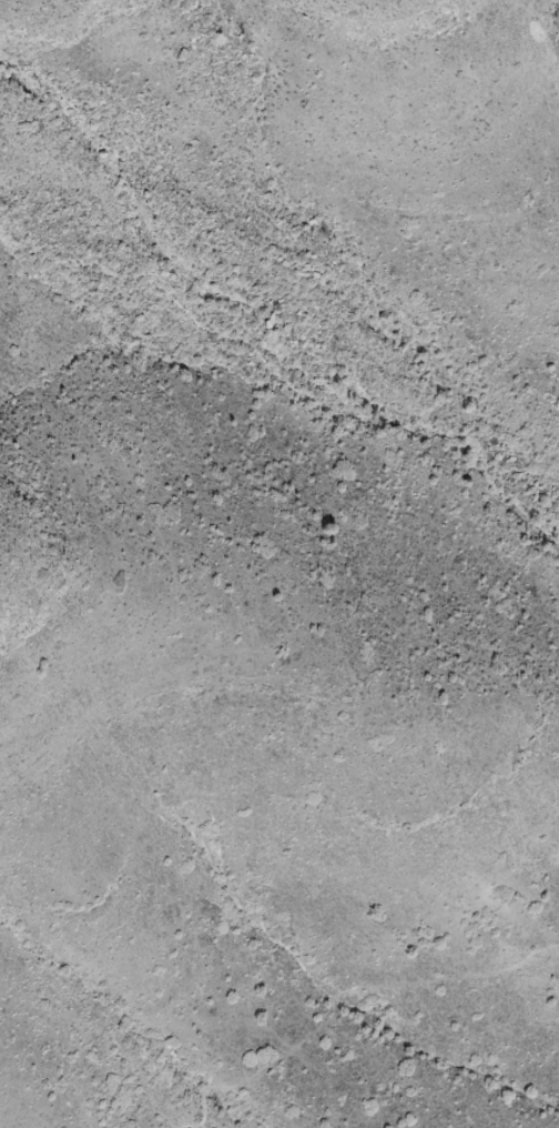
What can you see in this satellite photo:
road: (339, 994)

